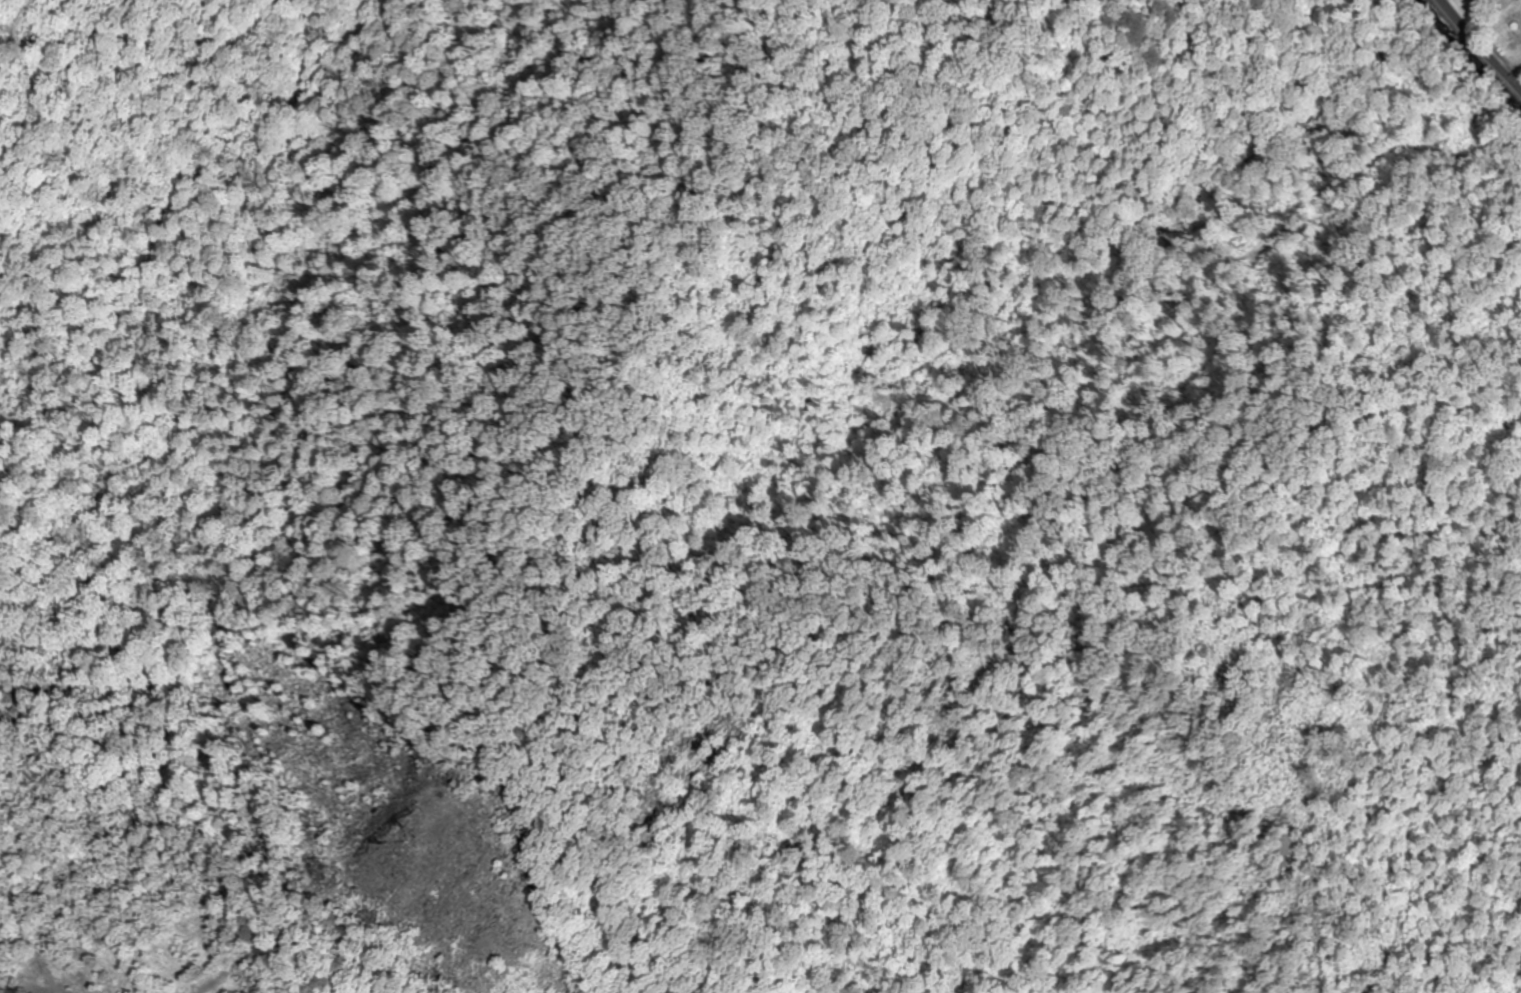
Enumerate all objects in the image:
road: (1481, 45)
power tower: (418, 863)
road: (312, 915)

